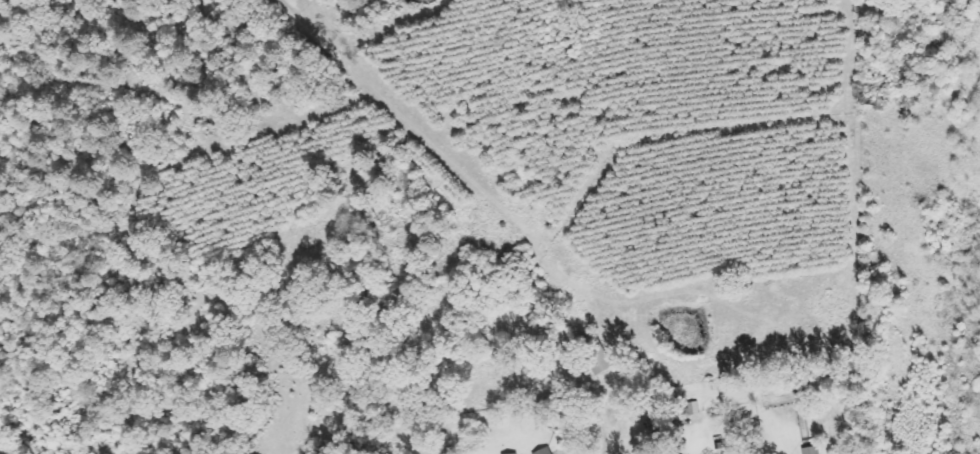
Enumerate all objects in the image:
building: (595, 353)
building: (544, 450)
building: (511, 453)

